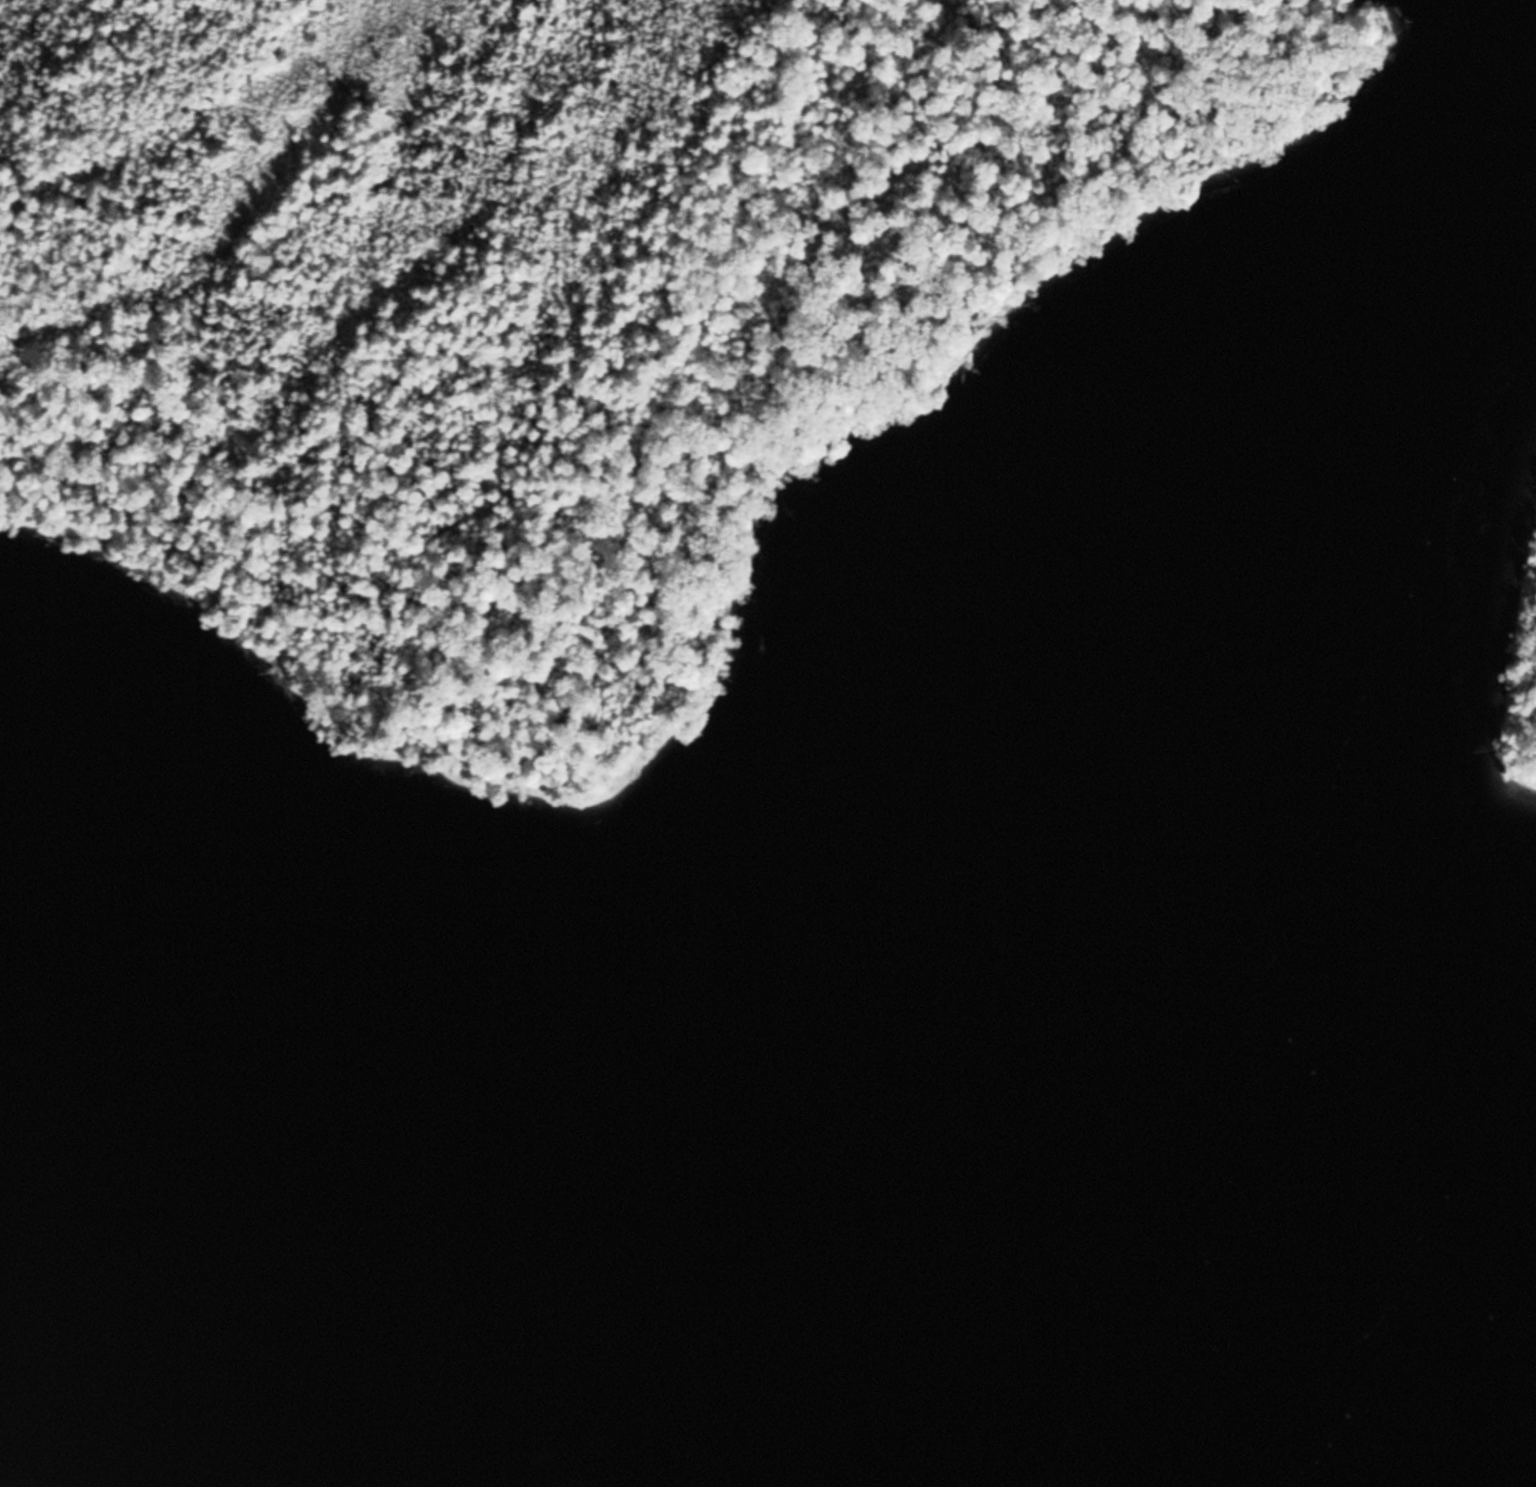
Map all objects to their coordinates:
building: (1159, 226)
river: (1096, 772)

